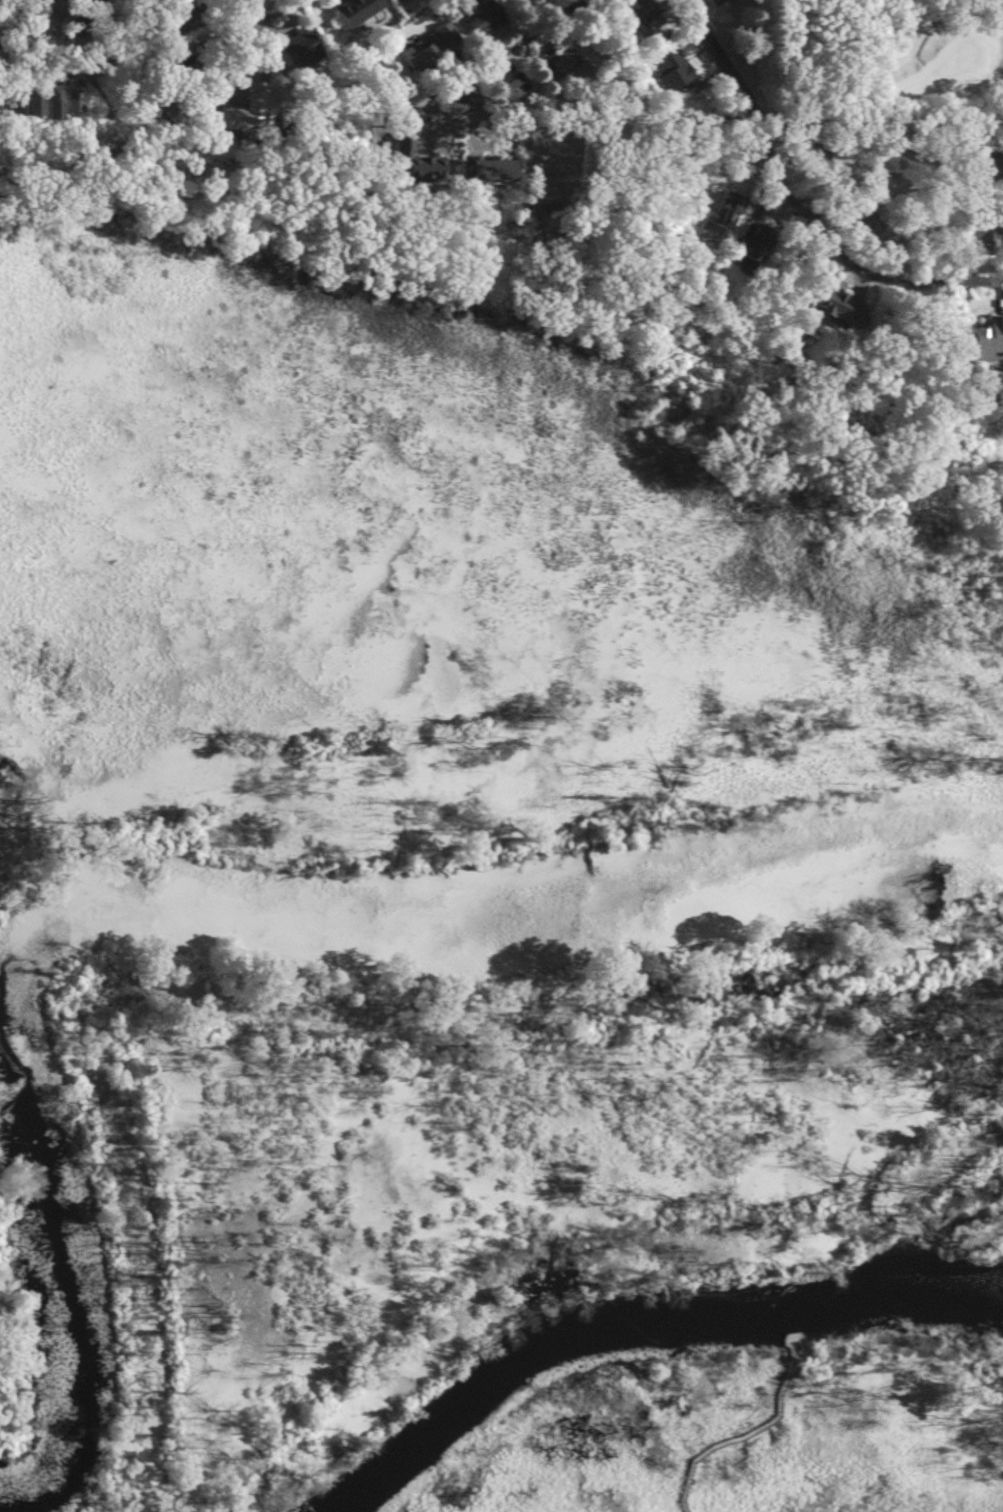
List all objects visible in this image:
building: (225, 0)
building: (394, 0)
building: (712, 2)
building: (351, 10)
road: (273, 12)
building: (634, 13)
building: (474, 17)
road: (926, 27)
building: (426, 45)
building: (295, 46)
road: (499, 50)
building: (552, 58)
building: (666, 71)
road: (197, 86)
building: (505, 89)
building: (3, 106)
road: (584, 108)
building: (214, 119)
road: (764, 137)
building: (403, 162)
building: (484, 170)
building: (864, 227)
building: (988, 237)
road: (925, 282)
building: (813, 295)
building: (968, 344)
river: (643, 1321)
road: (751, 1430)

